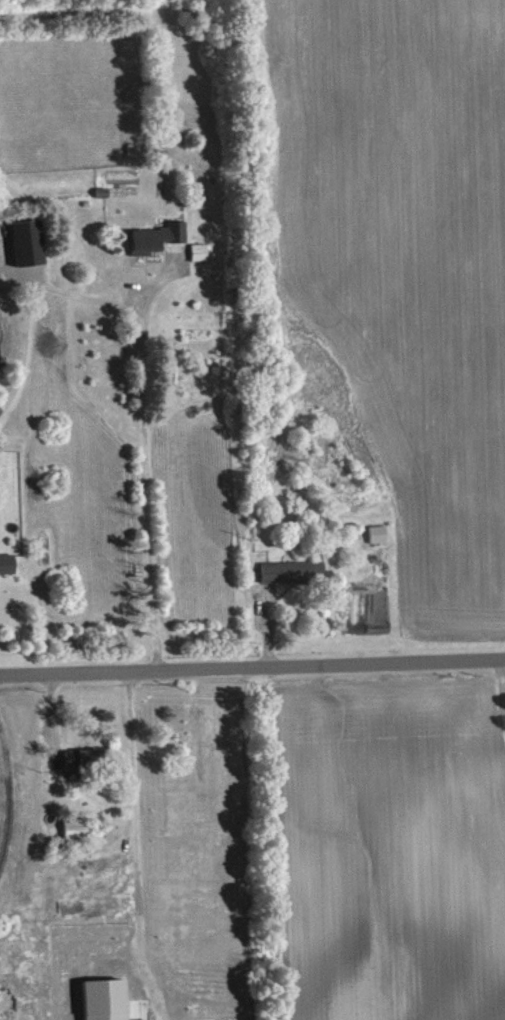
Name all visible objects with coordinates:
building: (159, 238)
building: (30, 243)
building: (202, 252)
road: (143, 461)
building: (8, 565)
building: (295, 572)
road: (252, 670)
building: (86, 760)
road: (9, 795)
road: (135, 827)
building: (77, 832)
building: (109, 1000)

